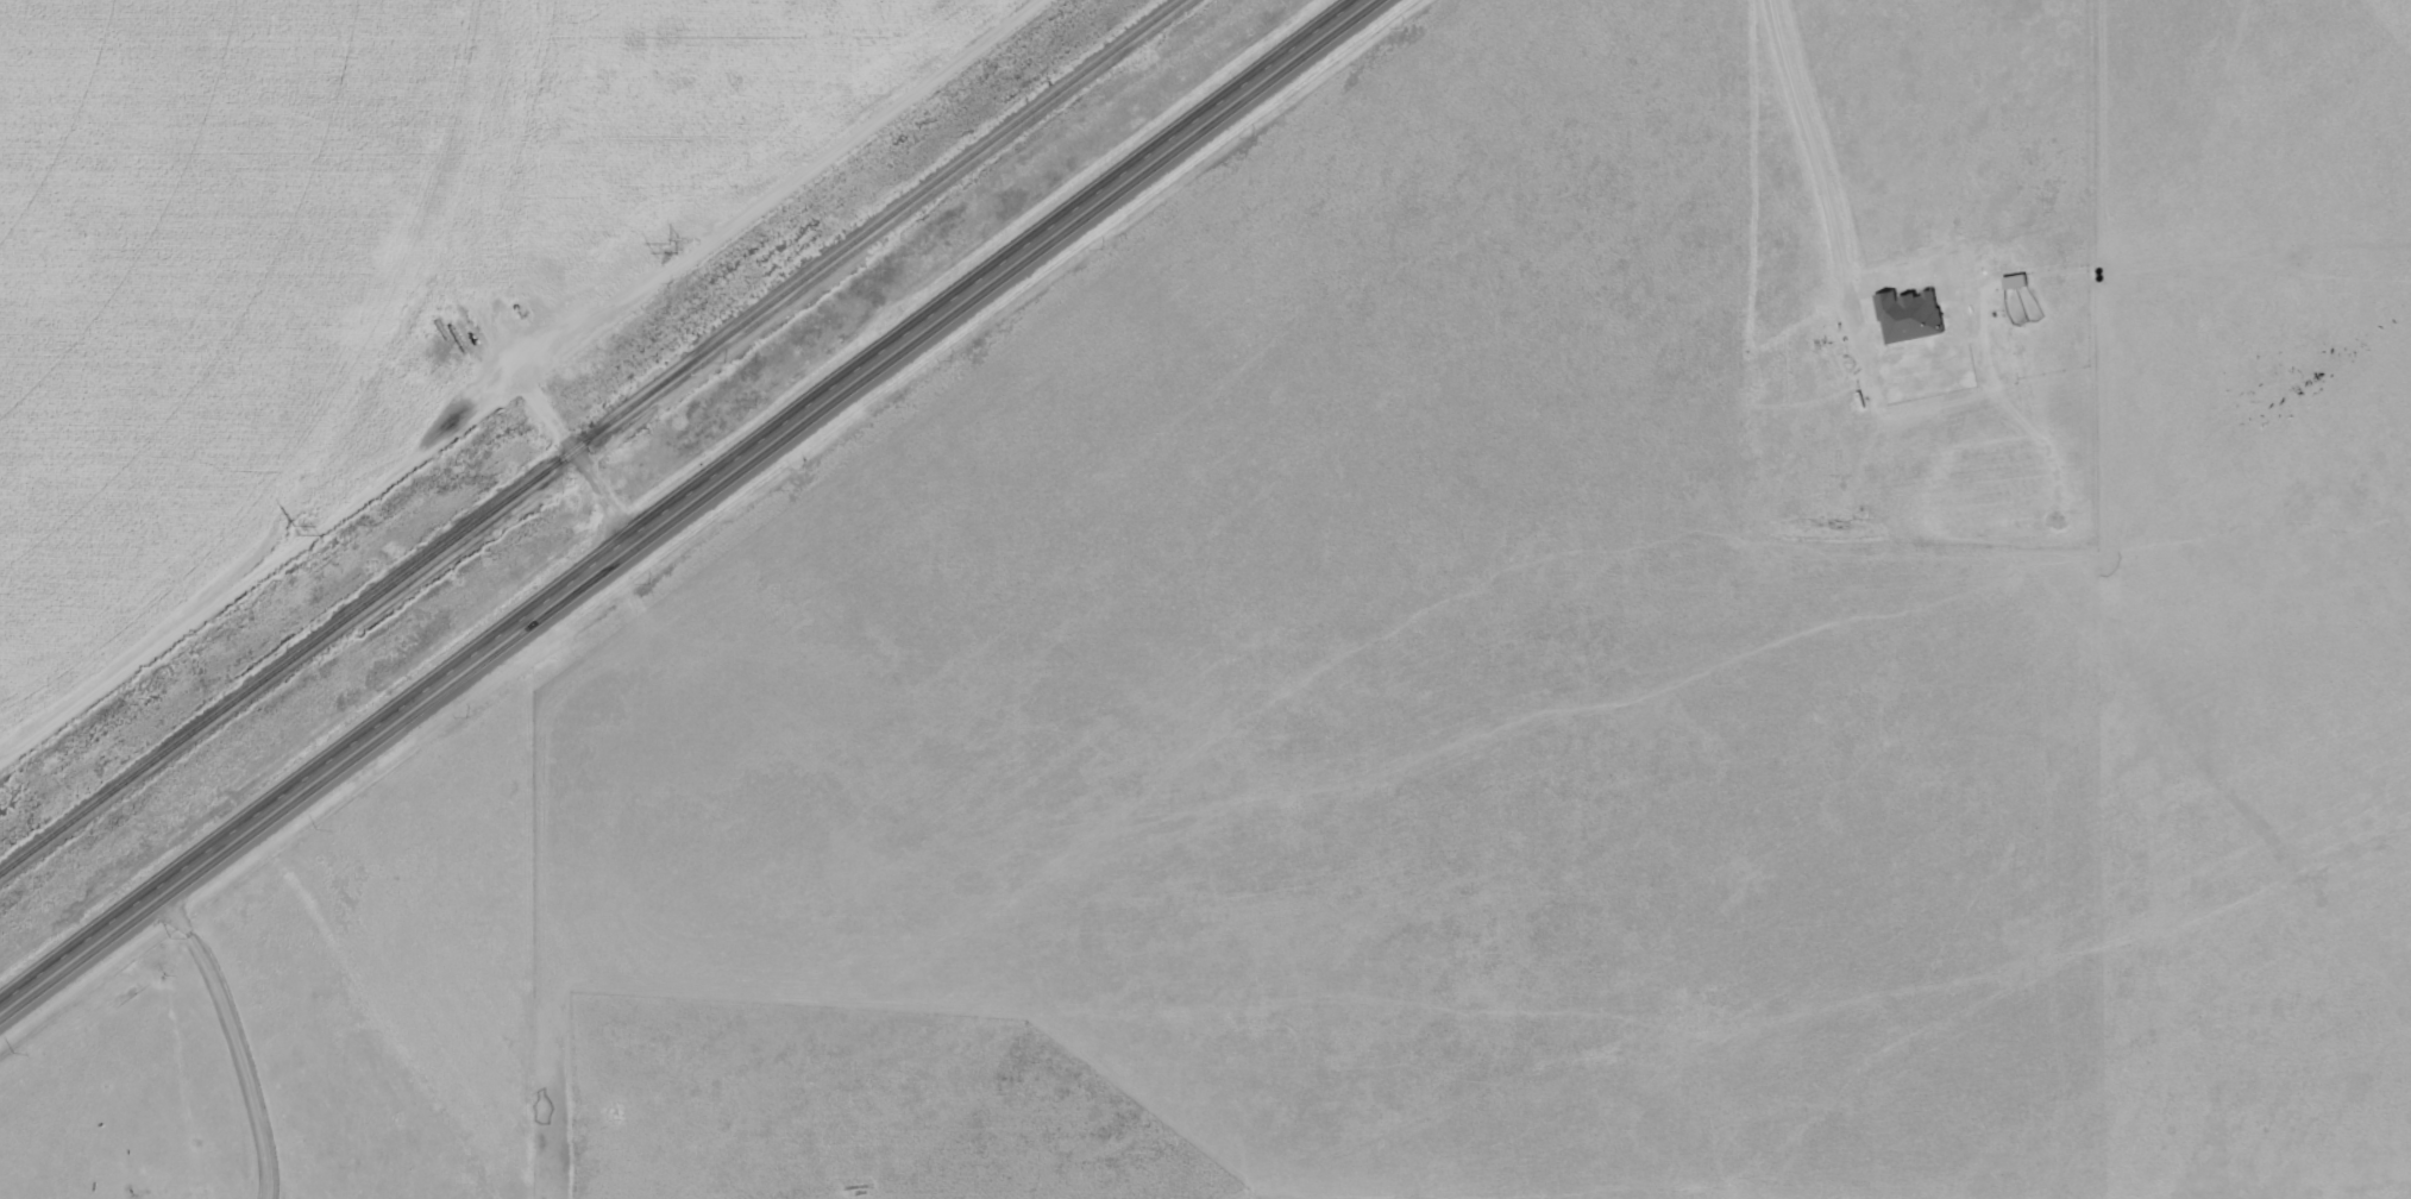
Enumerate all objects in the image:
power tower: (672, 244)
railway: (596, 434)
road: (601, 498)
road: (684, 504)
power tower: (293, 527)

